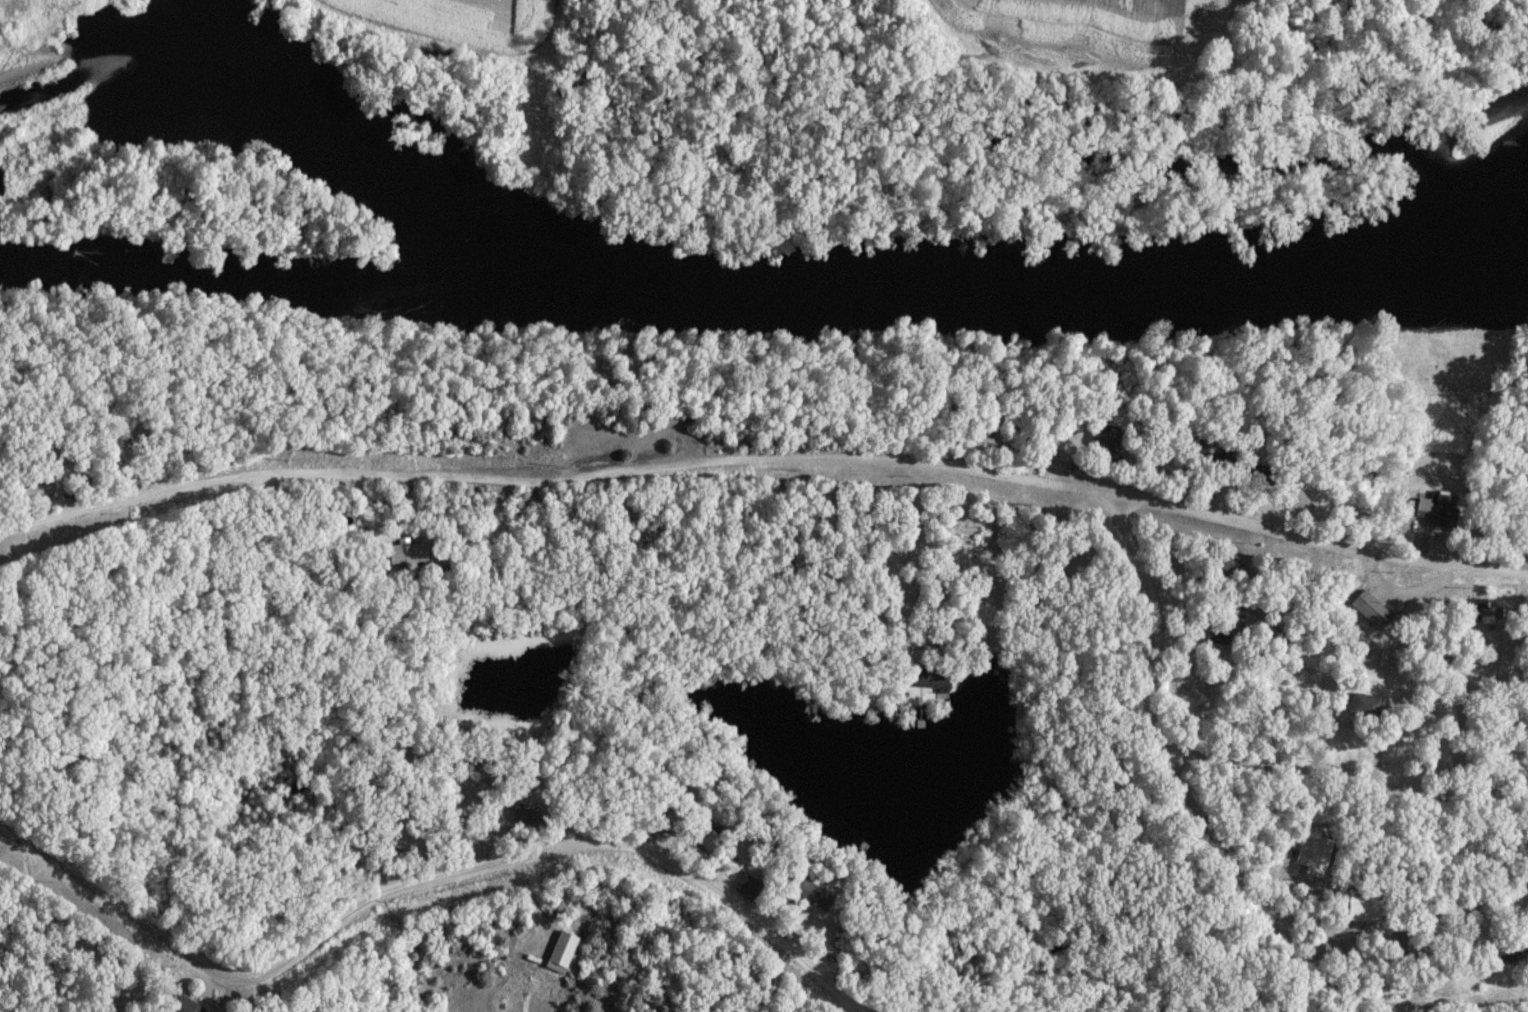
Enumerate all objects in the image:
river: (763, 296)
building: (992, 445)
building: (1106, 449)
road: (1455, 455)
road: (765, 459)
building: (37, 491)
building: (410, 554)
road: (1138, 562)
building: (1226, 566)
building: (1307, 599)
building: (1255, 602)
building: (1486, 610)
building: (931, 677)
road: (1150, 683)
building: (1365, 705)
road: (1339, 777)
building: (524, 817)
building: (1316, 854)
road: (421, 884)
building: (807, 886)
building: (1366, 909)
building: (1407, 945)
building: (1514, 945)
road: (1293, 949)
building: (187, 1006)

